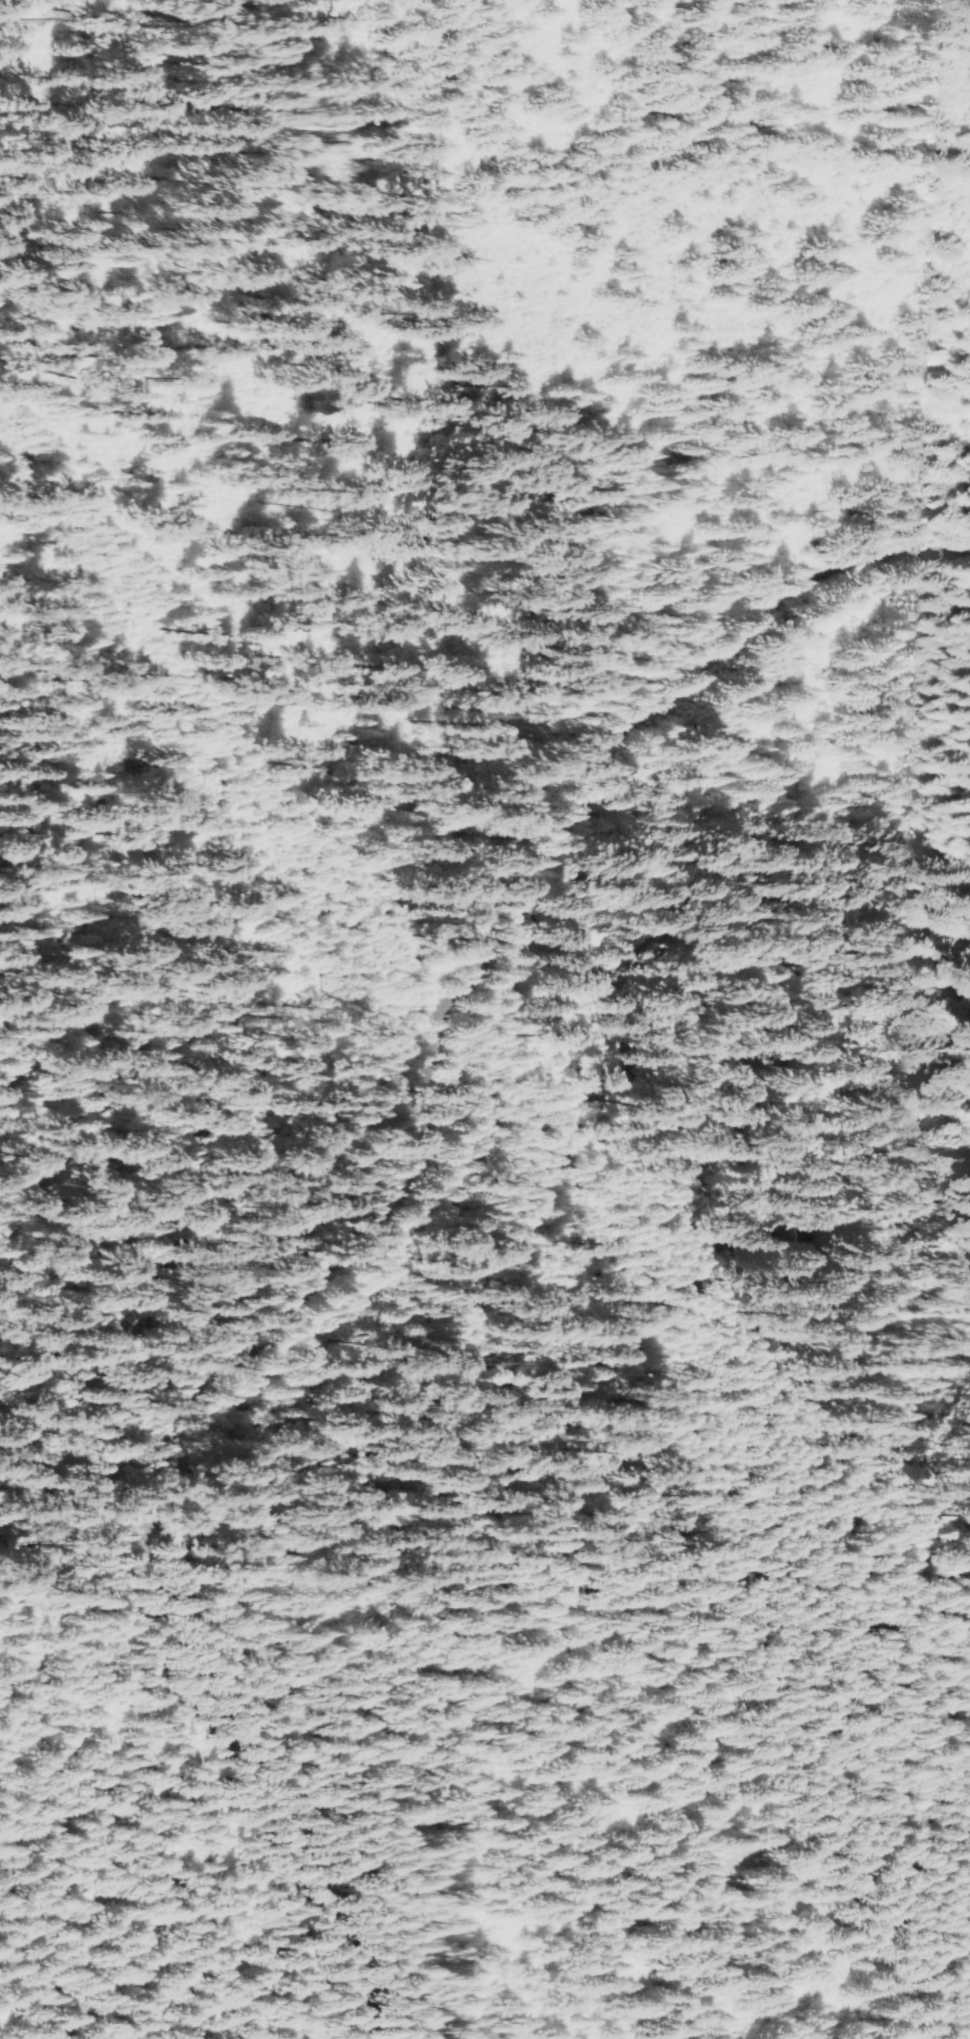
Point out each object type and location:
road: (373, 1220)

